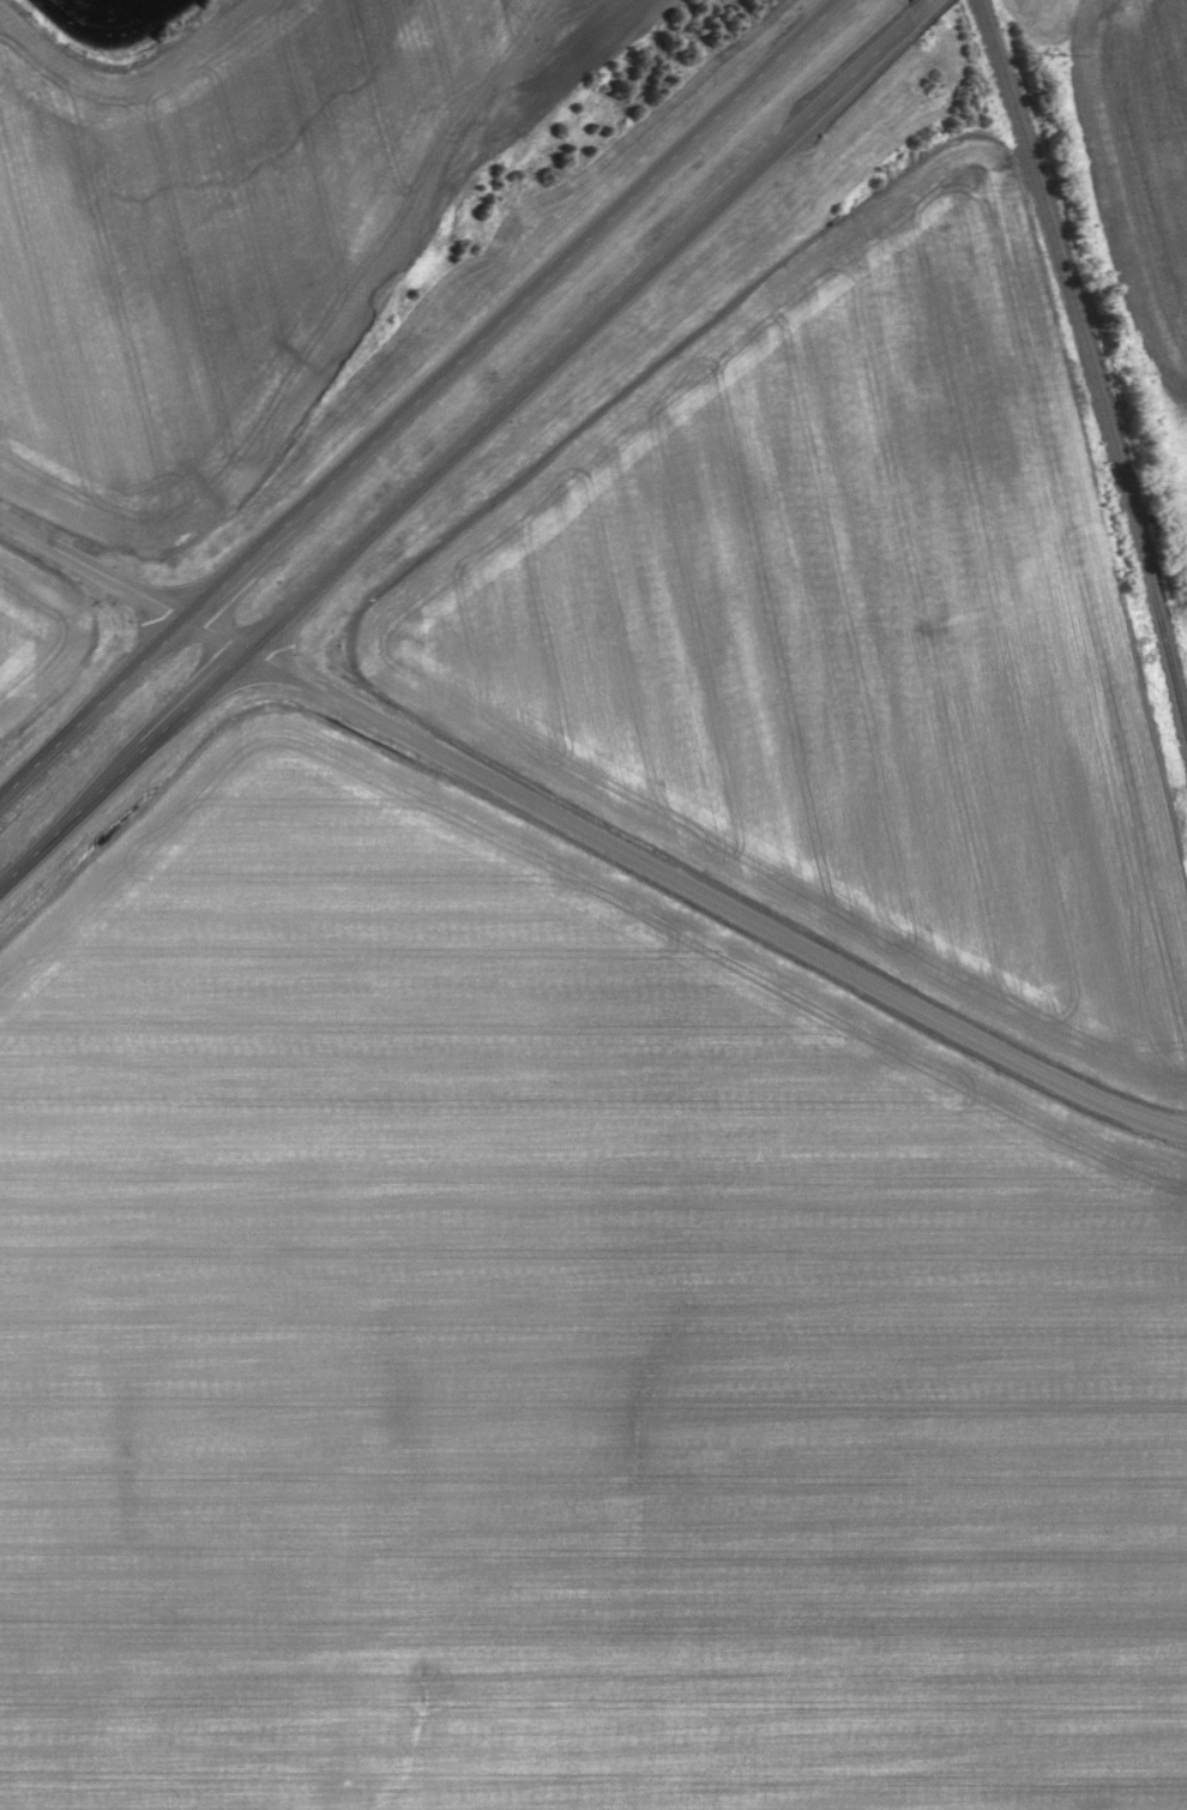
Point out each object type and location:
road: (912, 8)
railway: (1095, 381)
road: (412, 396)
road: (450, 450)
road: (590, 834)

